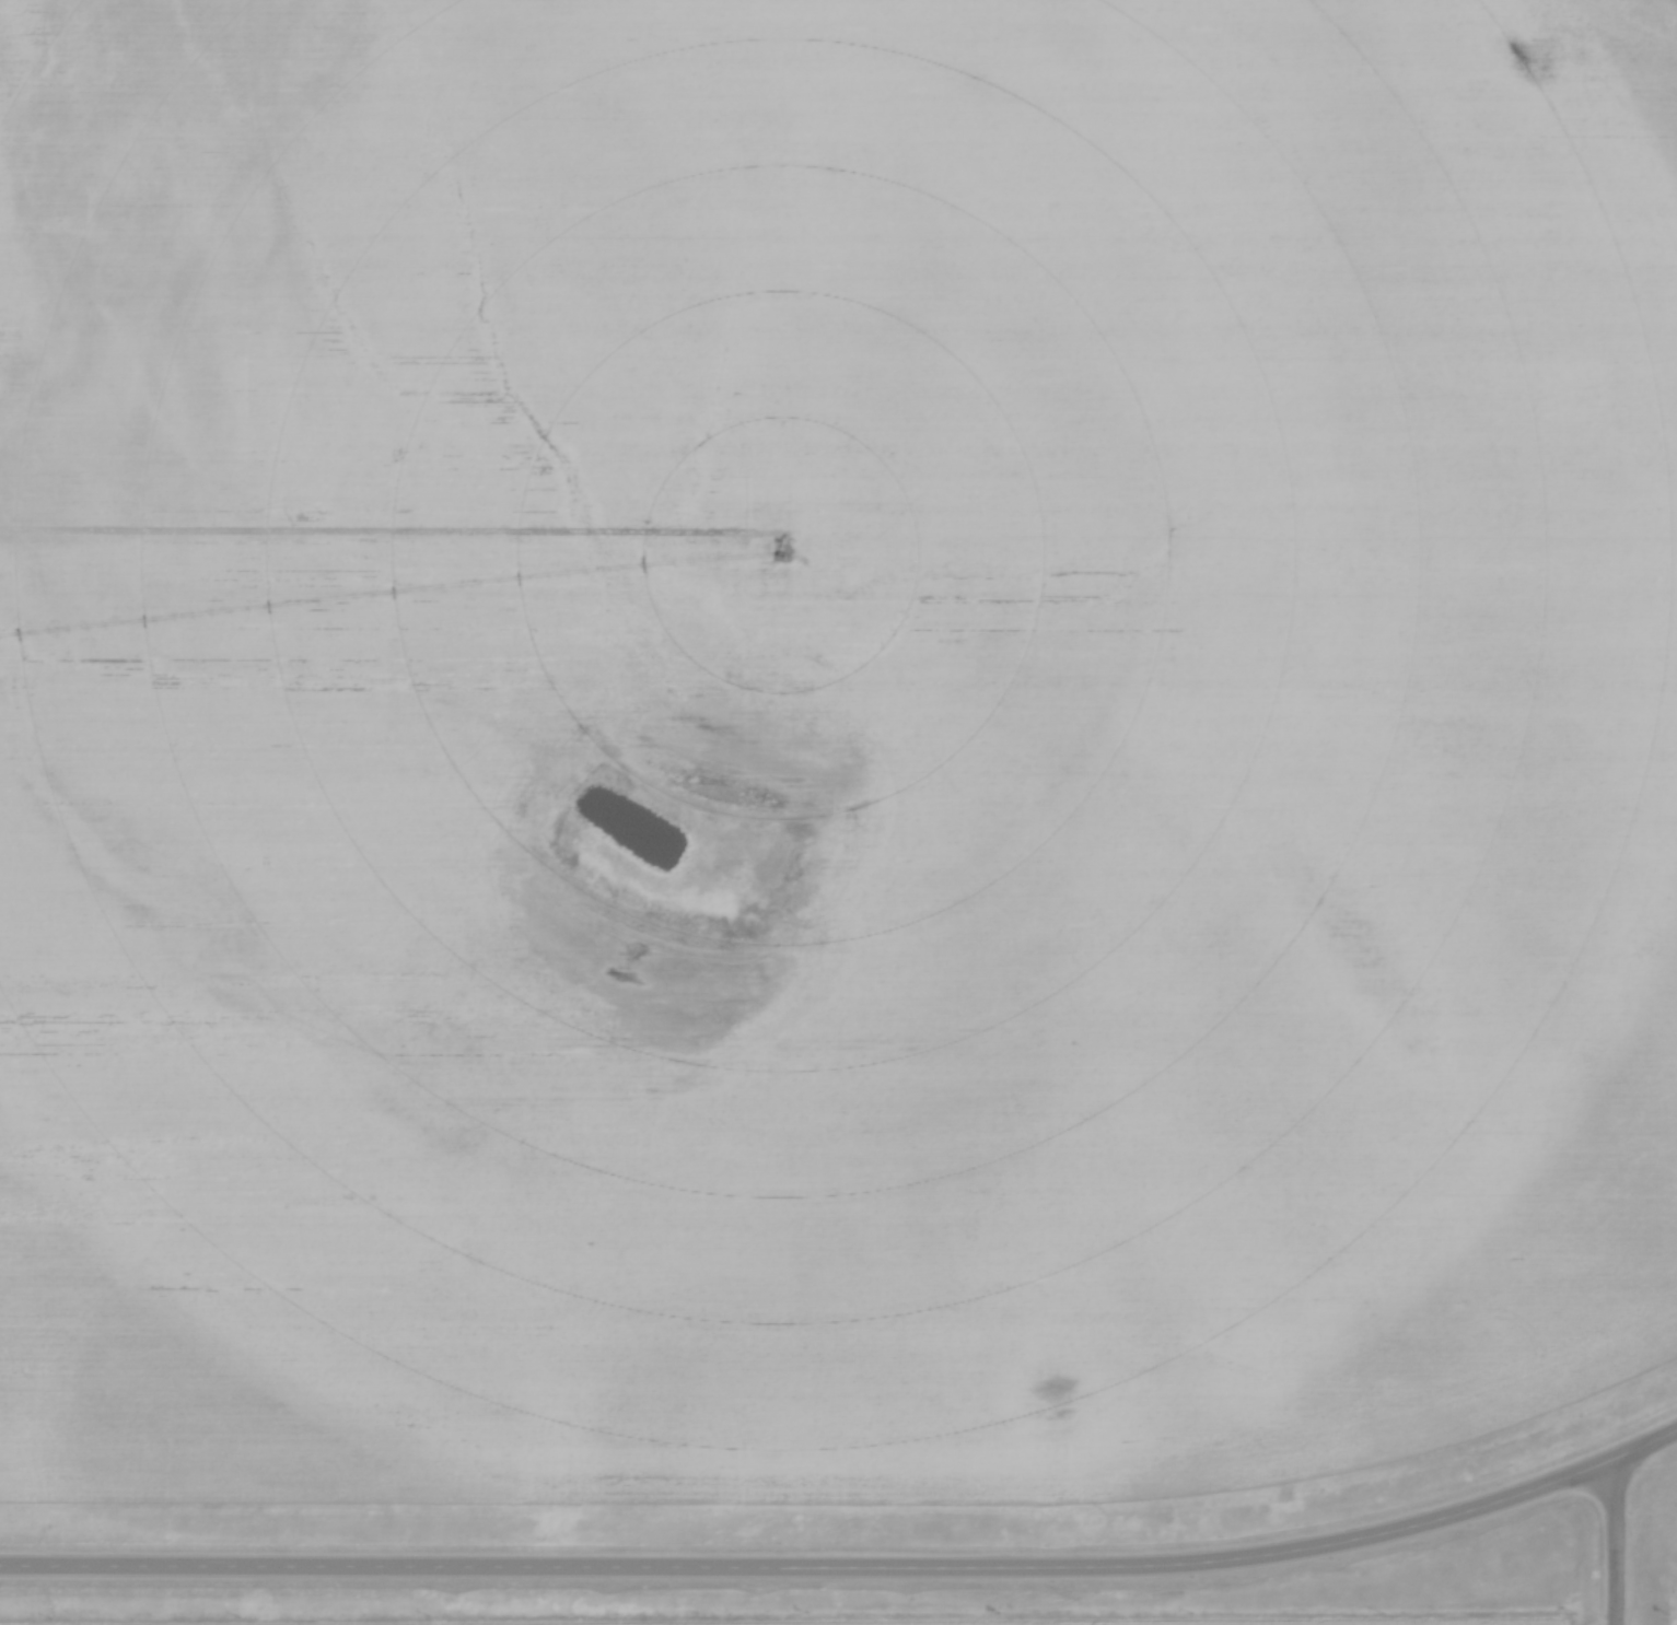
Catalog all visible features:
road: (1612, 1543)
road: (849, 1568)

